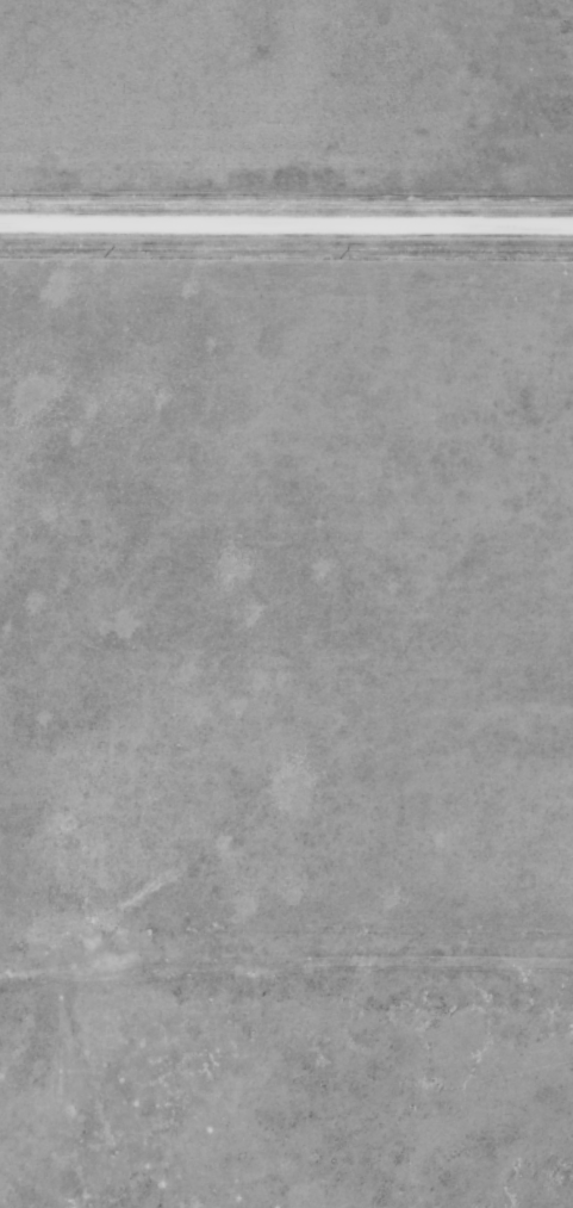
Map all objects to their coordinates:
road: (286, 219)

